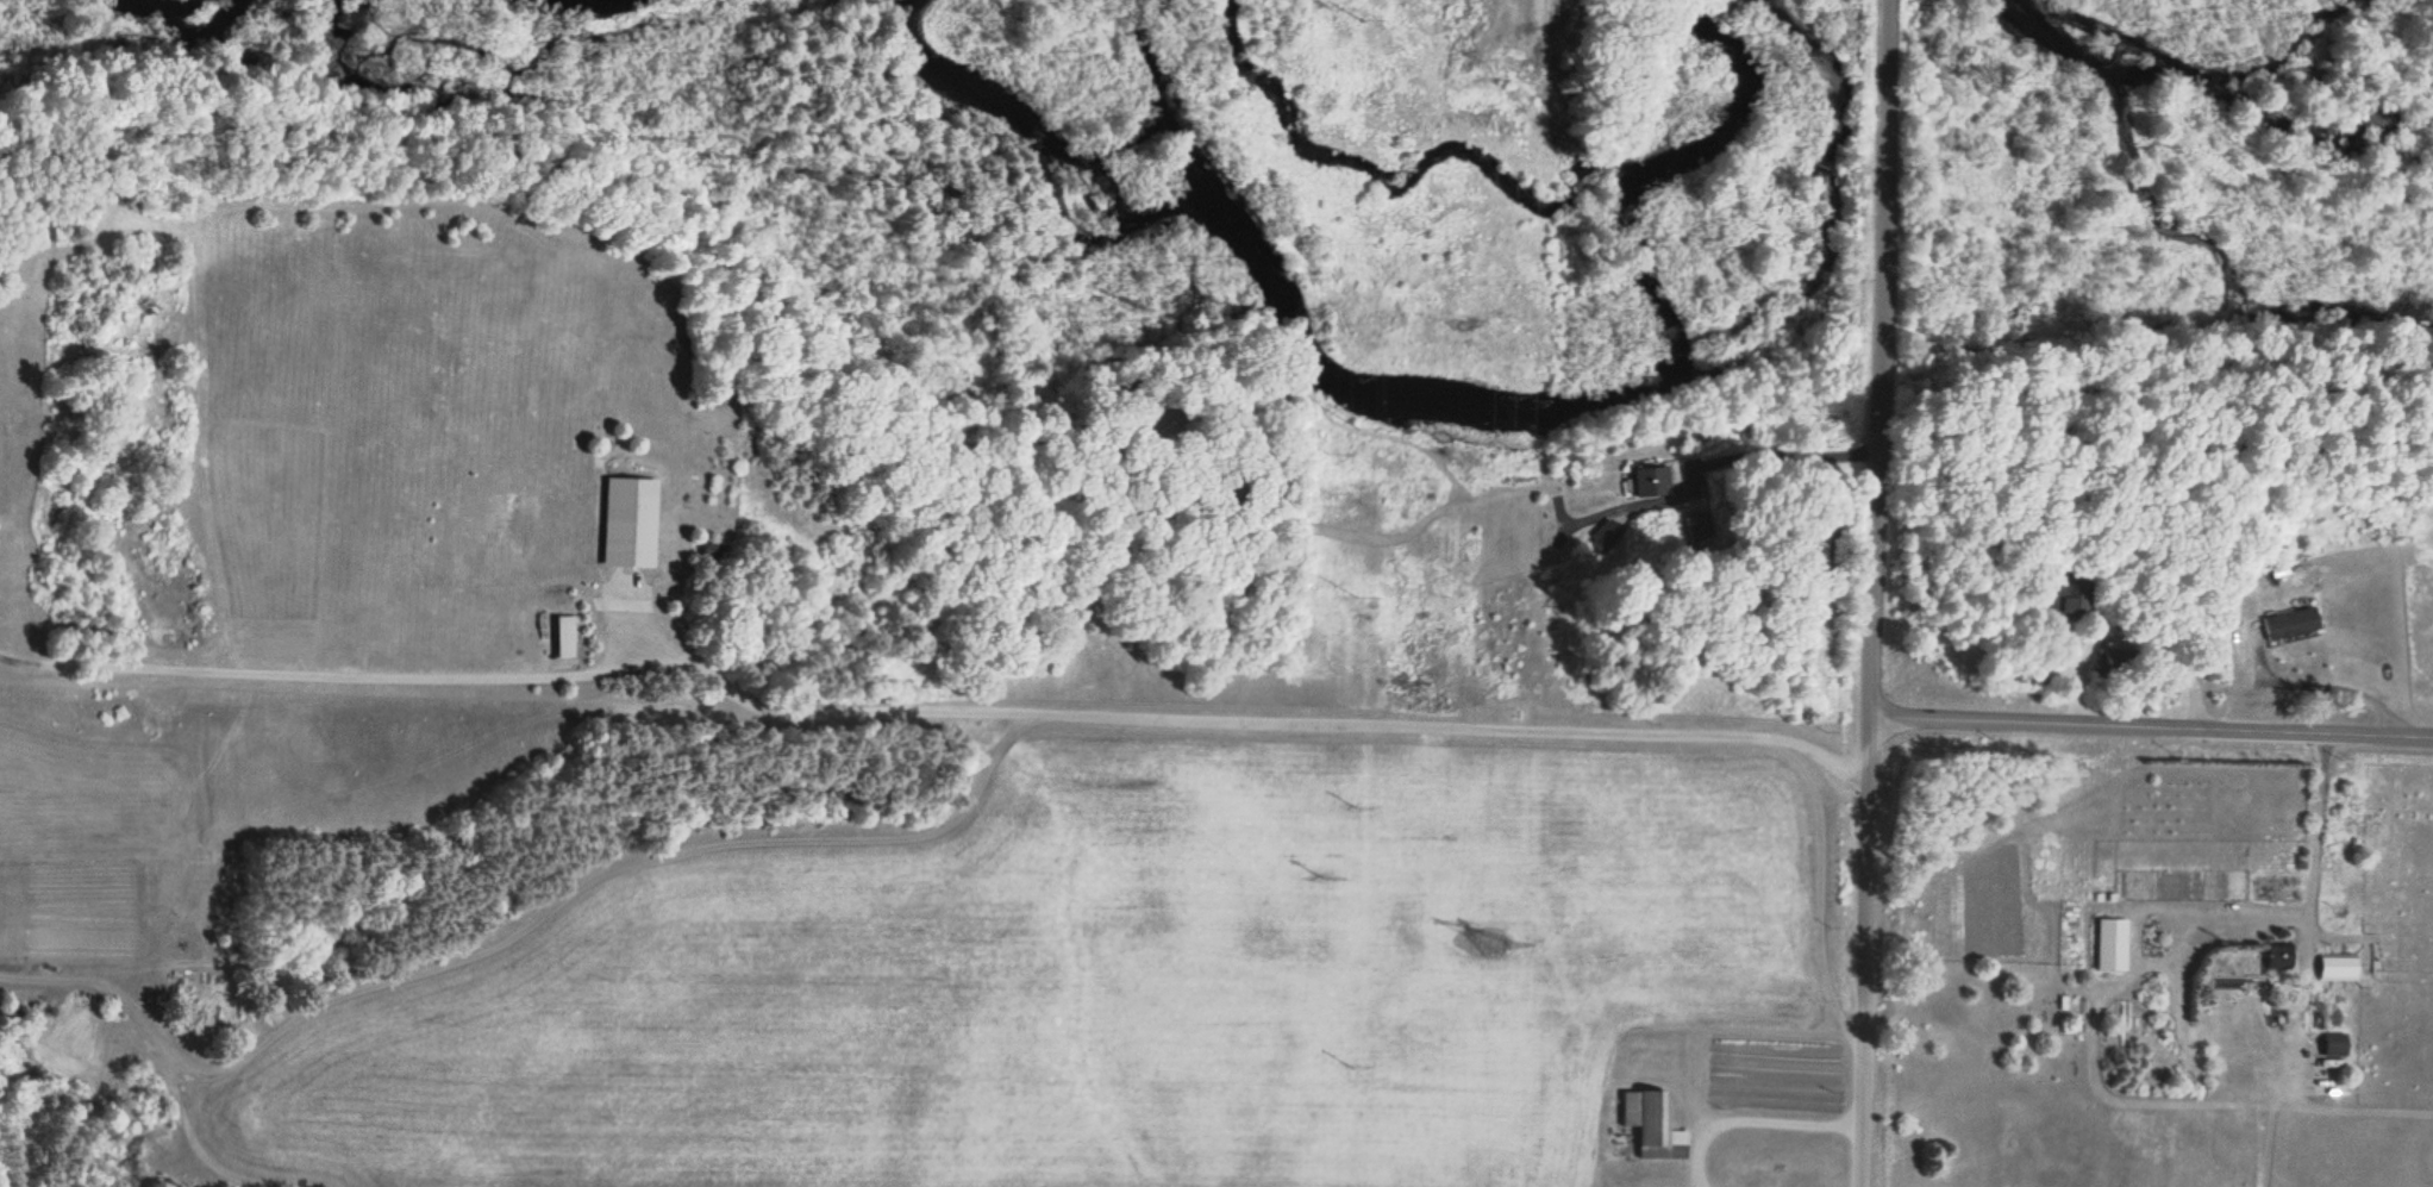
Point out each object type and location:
road: (1885, 43)
river: (2175, 69)
river: (1426, 407)
building: (630, 523)
building: (2290, 624)
road: (1864, 636)
road: (2147, 724)
power tower: (1493, 938)
building: (2114, 945)
building: (2339, 968)
building: (1653, 1125)

